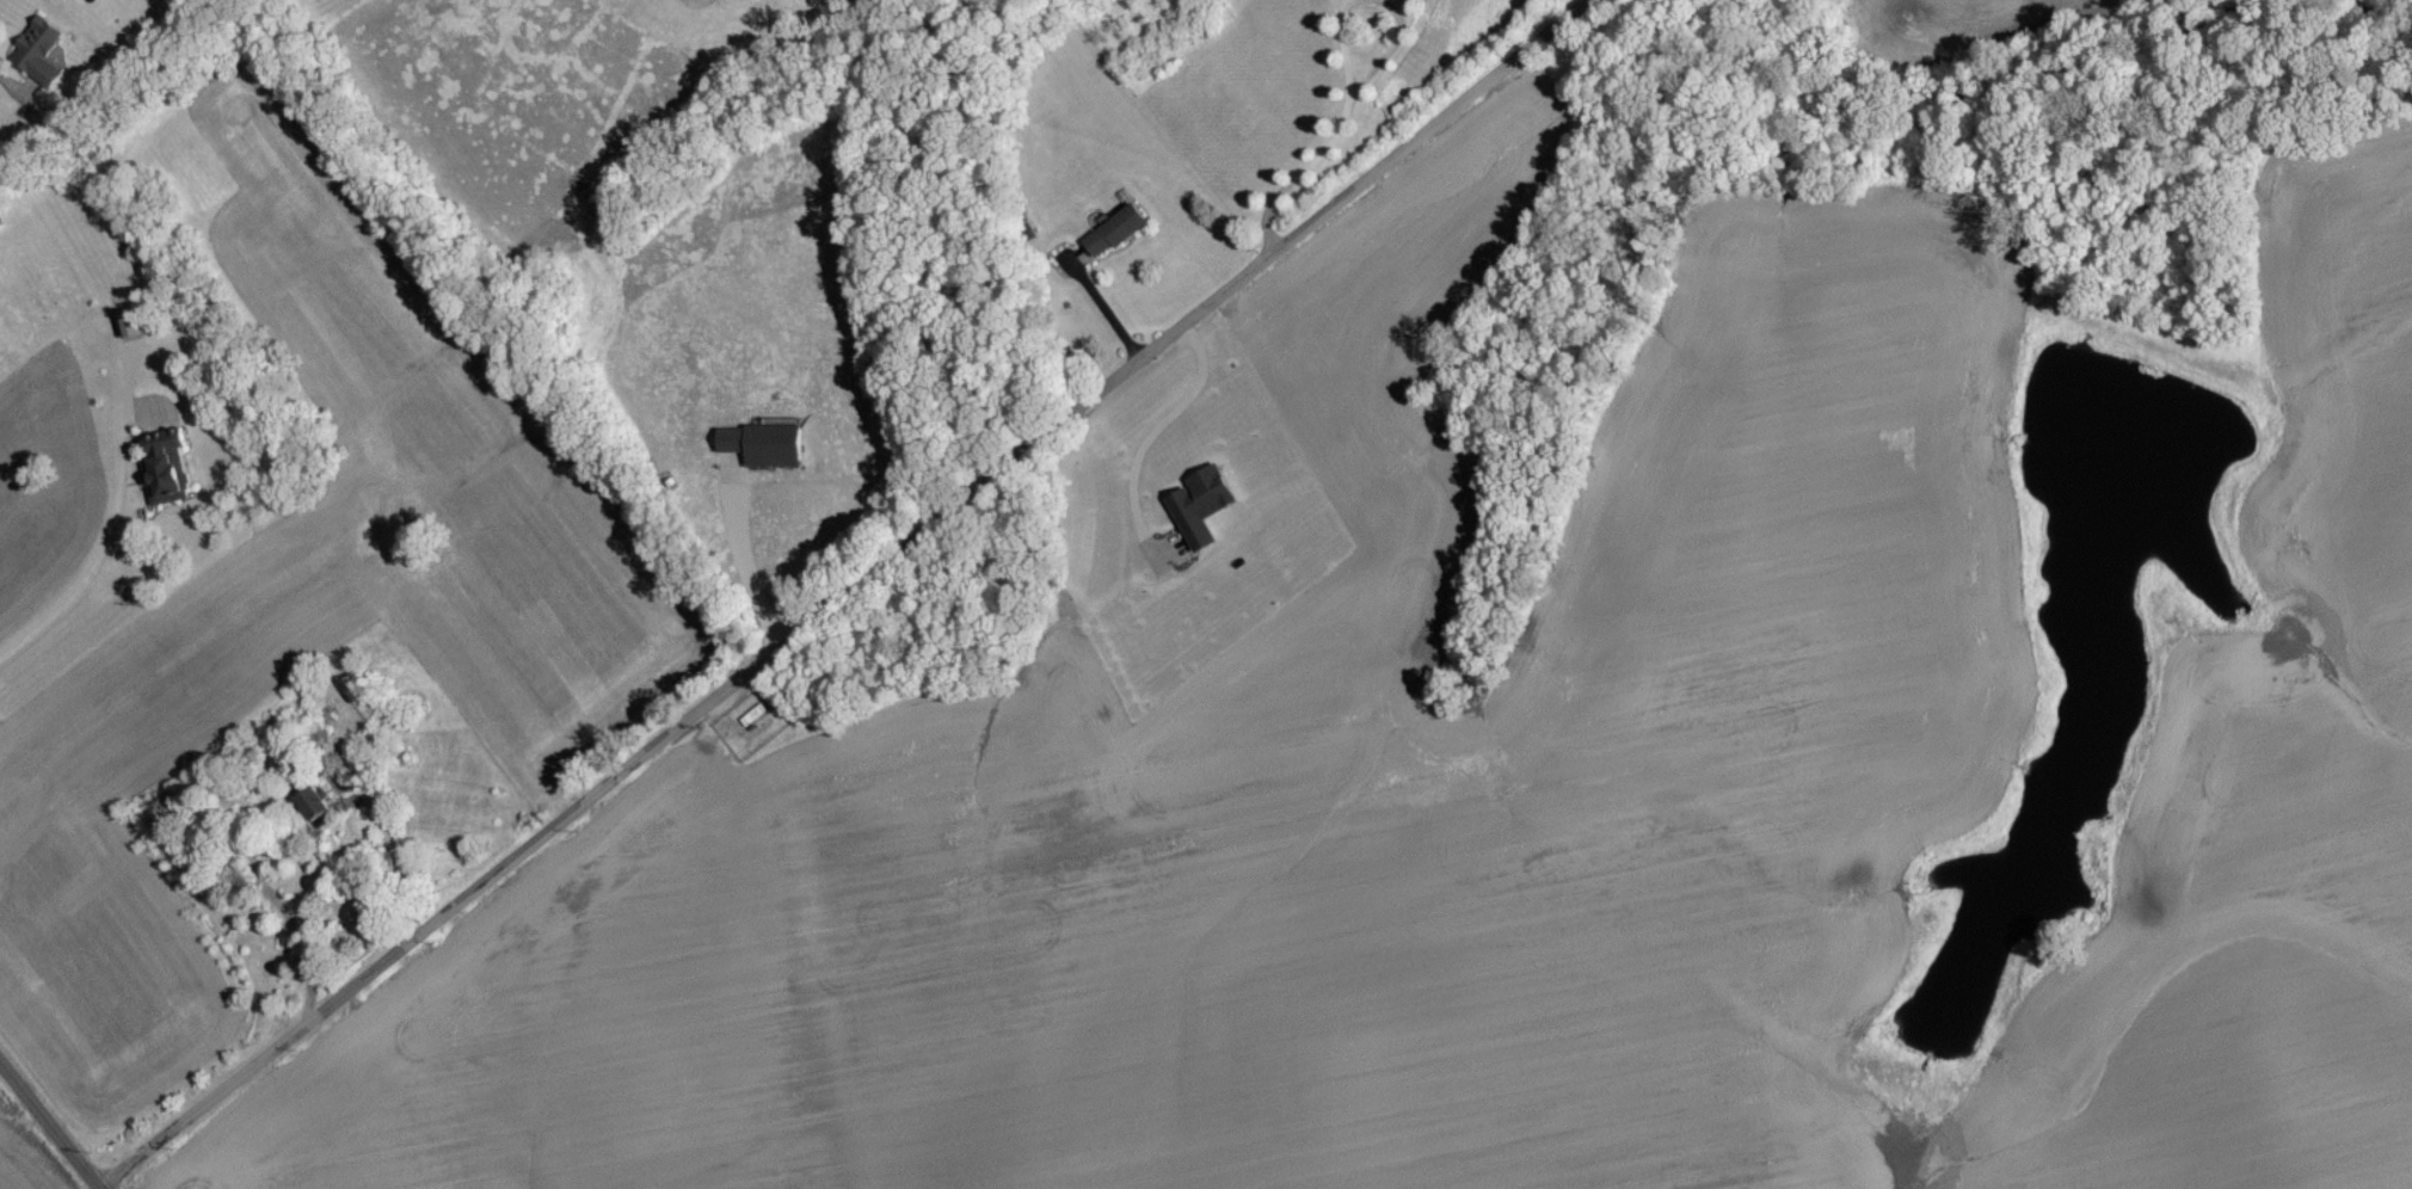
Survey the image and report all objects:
building: (37, 60)
road: (1348, 62)
building: (1114, 239)
road: (1153, 436)
building: (165, 479)
road: (106, 542)
road: (746, 571)
road: (842, 596)
building: (353, 696)
building: (314, 812)
road: (393, 863)
road: (48, 1128)

